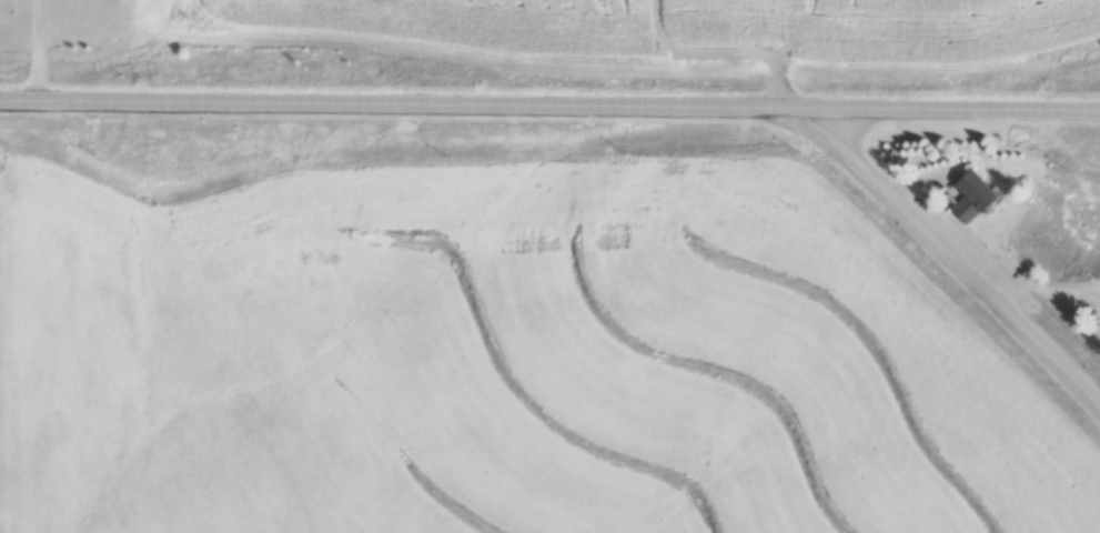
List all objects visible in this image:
road: (33, 47)
road: (413, 98)
road: (963, 103)
building: (975, 187)
road: (952, 261)

